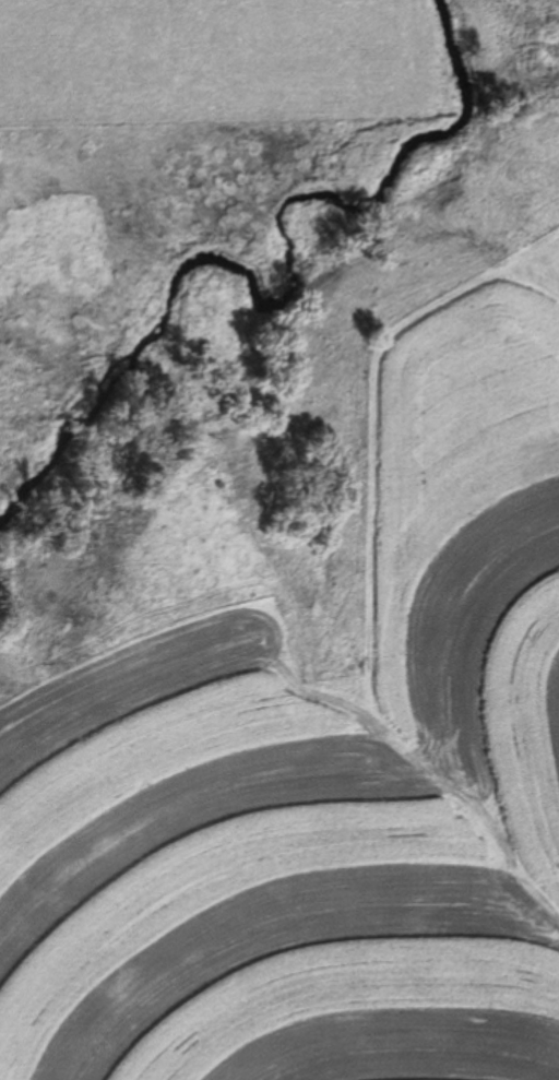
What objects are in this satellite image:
river: (279, 301)

